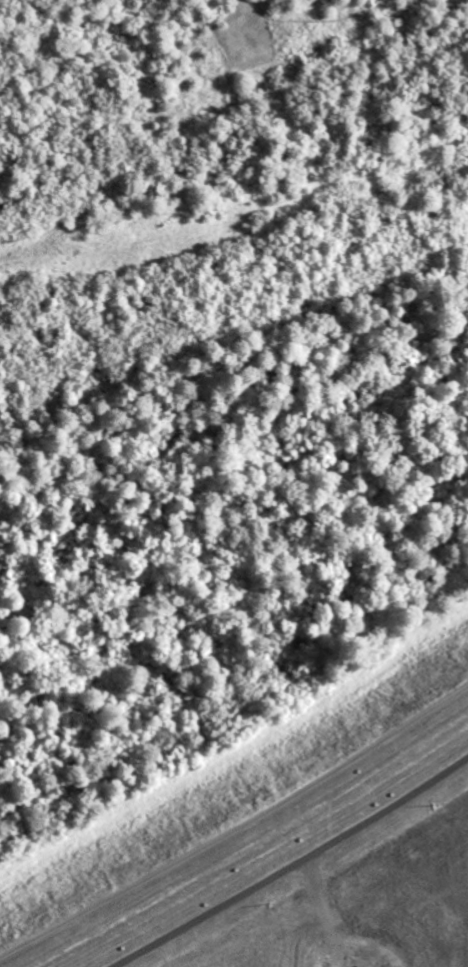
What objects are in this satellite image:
road: (236, 830)
road: (292, 865)

